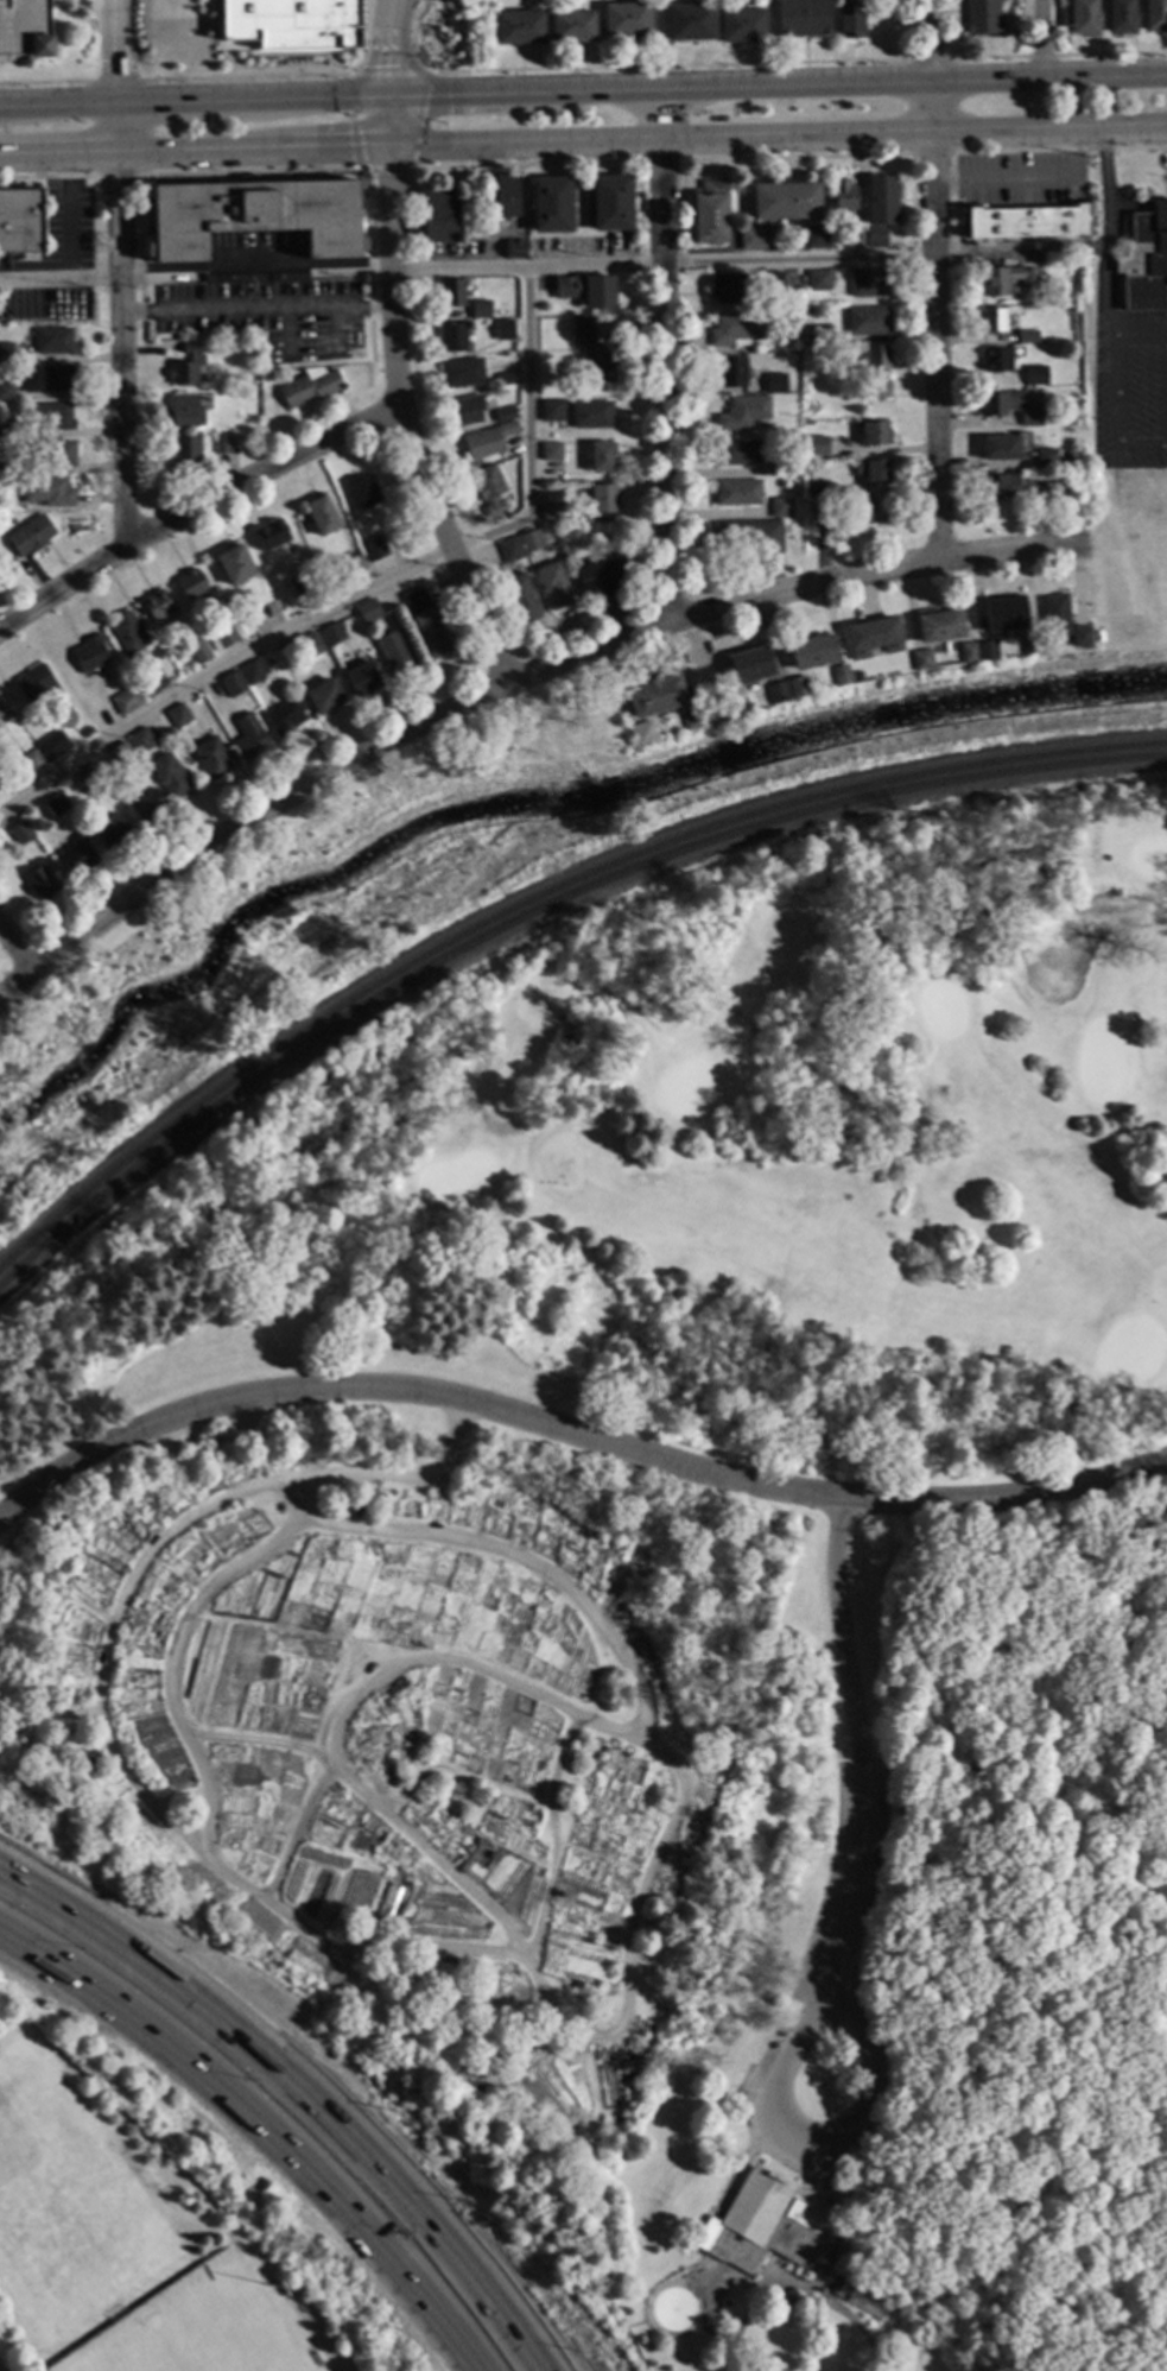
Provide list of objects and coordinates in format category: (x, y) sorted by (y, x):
building: (1154, 17)
building: (801, 18)
building: (1082, 18)
building: (1118, 18)
building: (982, 19)
building: (624, 21)
building: (849, 23)
building: (290, 24)
building: (689, 24)
building: (742, 27)
building: (24, 29)
parking lot: (24, 29)
building: (571, 29)
building: (518, 30)
road: (1039, 39)
road: (366, 40)
road: (391, 49)
road: (114, 51)
road: (1055, 56)
road: (927, 61)
traffic signals: (392, 67)
road: (671, 68)
road: (413, 74)
road: (243, 78)
road: (114, 82)
road: (45, 83)
road: (583, 93)
traffic signals: (448, 96)
road: (583, 145)
road: (1058, 150)
traffic signals: (350, 153)
road: (932, 153)
road: (795, 157)
road: (659, 162)
road: (526, 164)
road: (249, 172)
road: (115, 176)
road: (49, 177)
road: (1026, 182)
building: (843, 195)
building: (503, 197)
building: (786, 201)
building: (883, 201)
building: (611, 202)
building: (552, 203)
building: (711, 211)
road: (69, 216)
building: (254, 216)
building: (442, 216)
building: (20, 221)
building: (1028, 222)
road: (1103, 233)
building: (818, 236)
building: (876, 236)
building: (857, 238)
building: (757, 239)
building: (515, 249)
building: (1146, 260)
road: (695, 261)
road: (101, 277)
road: (933, 278)
building: (1007, 279)
building: (819, 280)
building: (774, 282)
building: (870, 282)
building: (728, 287)
building: (585, 289)
building: (452, 292)
road: (256, 309)
building: (481, 309)
building: (868, 320)
building: (994, 320)
road: (121, 324)
building: (736, 328)
building: (505, 329)
building: (818, 334)
building: (454, 335)
road: (1139, 335)
building: (1027, 336)
building: (55, 340)
building: (592, 350)
building: (7, 352)
building: (514, 354)
road: (664, 358)
building: (996, 359)
building: (188, 366)
building: (879, 368)
building: (730, 371)
building: (463, 372)
building: (1036, 375)
building: (49, 378)
building: (507, 379)
building: (775, 382)
building: (311, 386)
building: (6, 390)
road: (1165, 391)
road: (395, 404)
building: (994, 404)
building: (468, 410)
building: (552, 410)
building: (743, 411)
building: (186, 412)
building: (505, 413)
building: (592, 413)
building: (51, 416)
building: (1032, 416)
road: (1114, 416)
building: (6, 426)
building: (875, 432)
building: (487, 441)
building: (222, 443)
building: (829, 445)
building: (816, 447)
building: (1004, 447)
building: (552, 451)
building: (59, 453)
building: (185, 453)
building: (737, 453)
building: (602, 455)
building: (1047, 459)
building: (8, 464)
building: (780, 466)
building: (875, 470)
building: (1002, 486)
building: (1035, 487)
building: (490, 488)
building: (822, 489)
building: (49, 491)
building: (364, 492)
building: (738, 492)
building: (603, 498)
building: (781, 506)
building: (820, 507)
road: (192, 508)
building: (875, 510)
building: (552, 513)
building: (322, 516)
building: (31, 535)
building: (271, 535)
building: (750, 535)
building: (532, 540)
building: (374, 546)
building: (512, 550)
building: (235, 564)
building: (355, 568)
building: (603, 577)
building: (304, 583)
building: (192, 584)
building: (553, 584)
road: (366, 588)
building: (521, 598)
building: (158, 603)
building: (369, 611)
building: (1004, 613)
building: (1055, 614)
building: (430, 624)
building: (940, 626)
building: (126, 633)
building: (334, 634)
building: (1083, 636)
building: (873, 637)
building: (223, 638)
building: (1029, 643)
building: (311, 646)
building: (199, 651)
building: (395, 651)
building: (813, 651)
building: (987, 651)
building: (969, 652)
building: (91, 653)
building: (922, 658)
building: (751, 665)
building: (254, 671)
building: (842, 675)
building: (858, 676)
building: (362, 679)
building: (152, 682)
building: (233, 684)
building: (799, 685)
building: (38, 688)
road: (507, 688)
building: (779, 693)
building: (324, 696)
building: (657, 696)
building: (127, 700)
building: (740, 703)
building: (220, 706)
building: (2, 715)
building: (179, 715)
building: (691, 716)
building: (286, 717)
building: (97, 722)
building: (87, 732)
building: (642, 734)
building: (250, 736)
building: (141, 740)
building: (53, 746)
building: (120, 757)
building: (211, 757)
building: (32, 761)
building: (171, 776)
building: (90, 782)
building: (147, 804)
building: (58, 805)
building: (112, 832)
building: (21, 833)
building: (78, 858)
building: (42, 881)
railway: (535, 898)
railway: (534, 912)
park: (310, 925)
road: (17, 949)
park: (803, 1155)
road: (571, 1435)
road: (171, 1657)
road: (345, 1708)
park: (526, 1769)
road: (294, 1831)
road: (552, 1836)
road: (829, 1923)
road: (454, 1949)
road: (1162, 1991)
road: (267, 2123)
road: (243, 2146)
road: (912, 2195)
park: (66, 2200)
road: (829, 2215)
building: (760, 2227)
building: (836, 2288)
road: (753, 2301)
building: (864, 2306)
road: (856, 2326)
park: (201, 2337)
road: (949, 2340)
road: (997, 2354)

